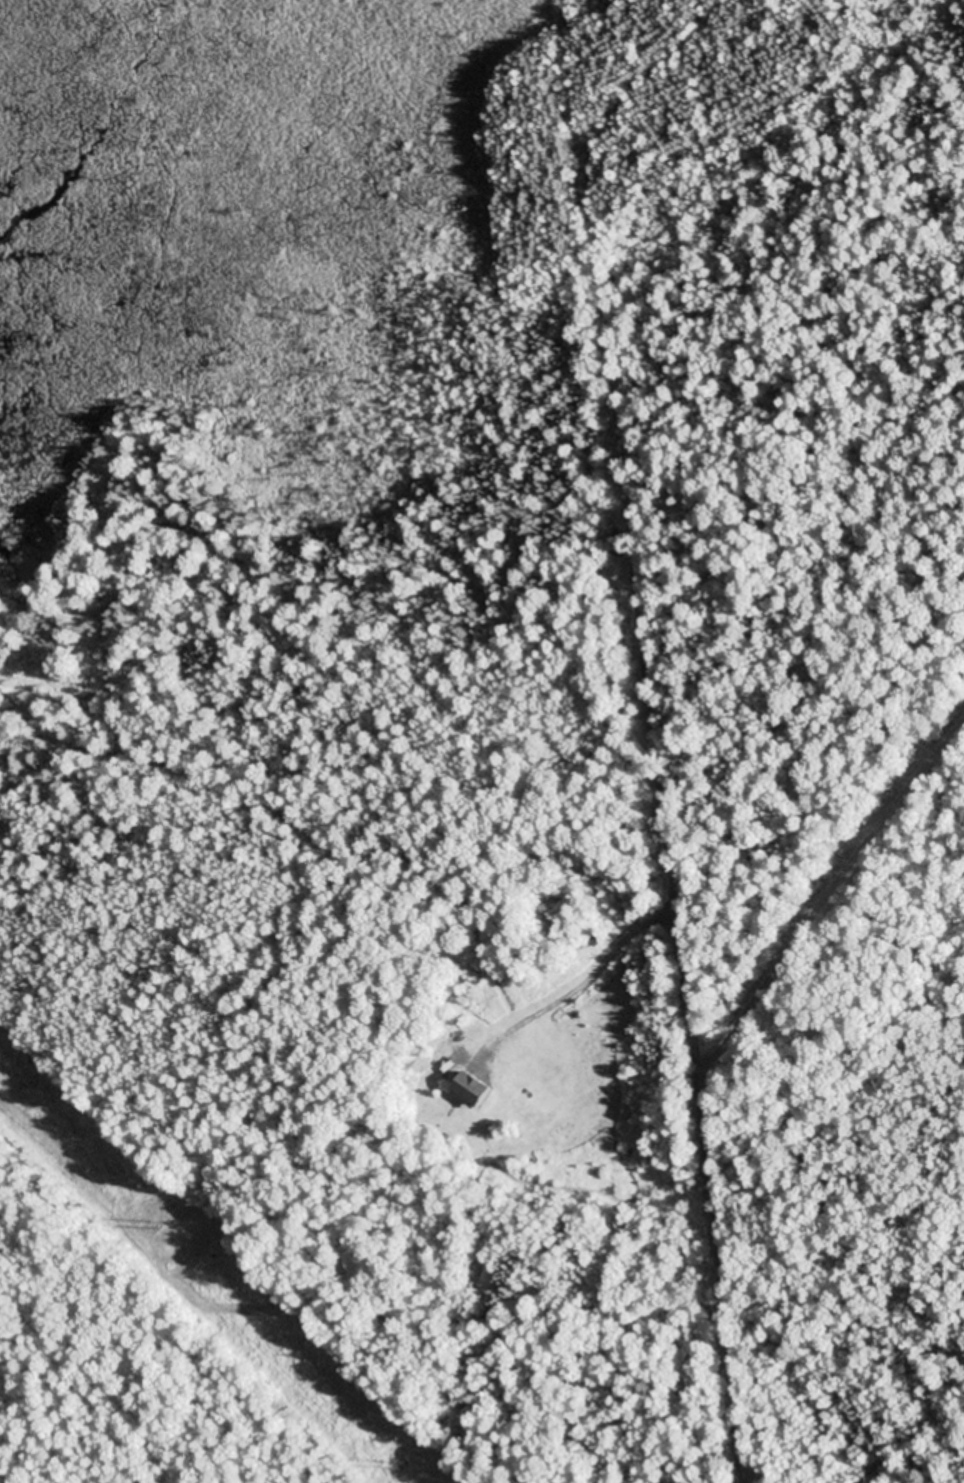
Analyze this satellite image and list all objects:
power tower: (161, 1229)
road: (725, 1298)
power tower: (407, 1470)

